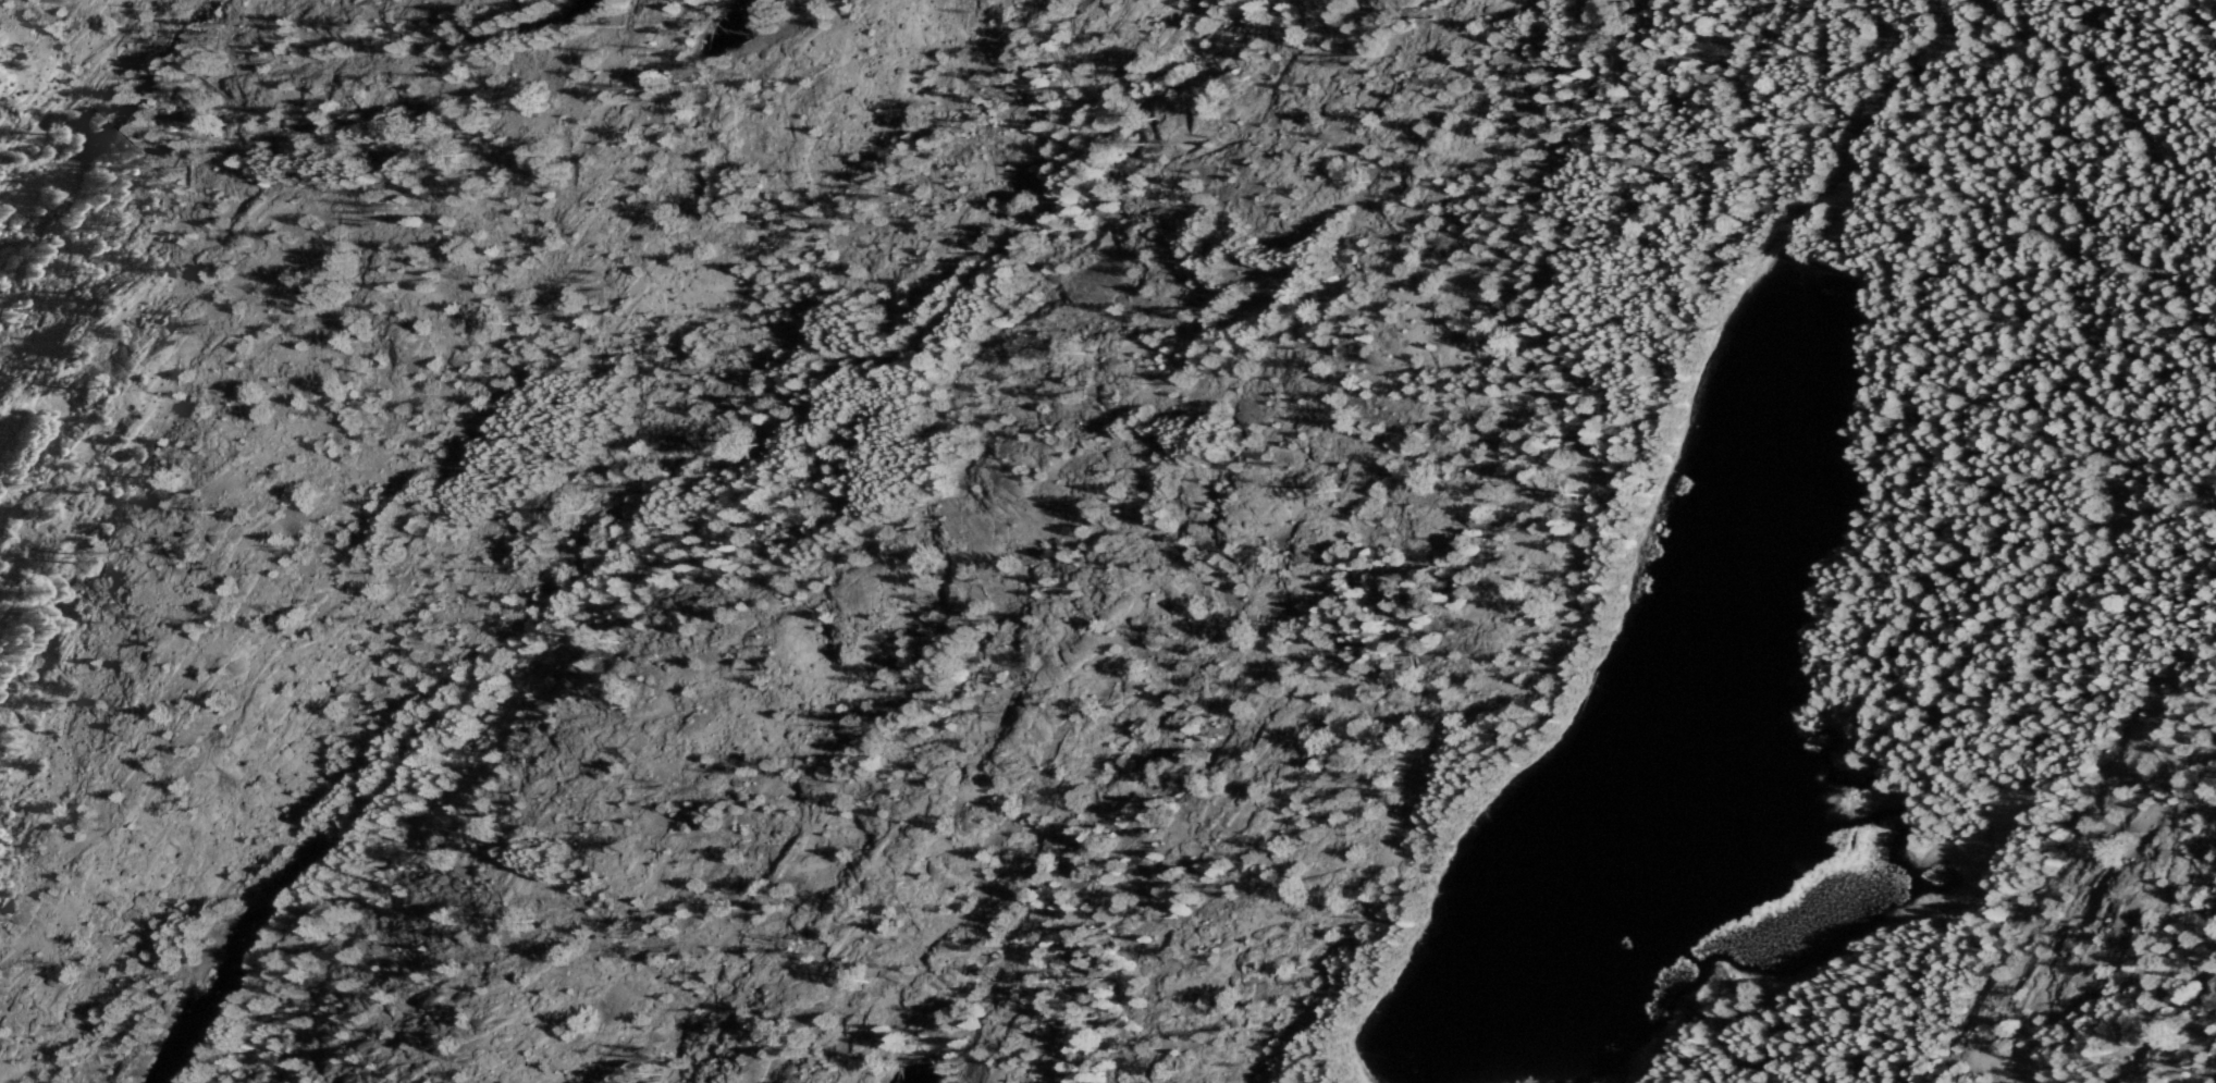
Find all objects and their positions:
road: (2072, 212)
road: (2055, 789)
road: (1737, 1029)

